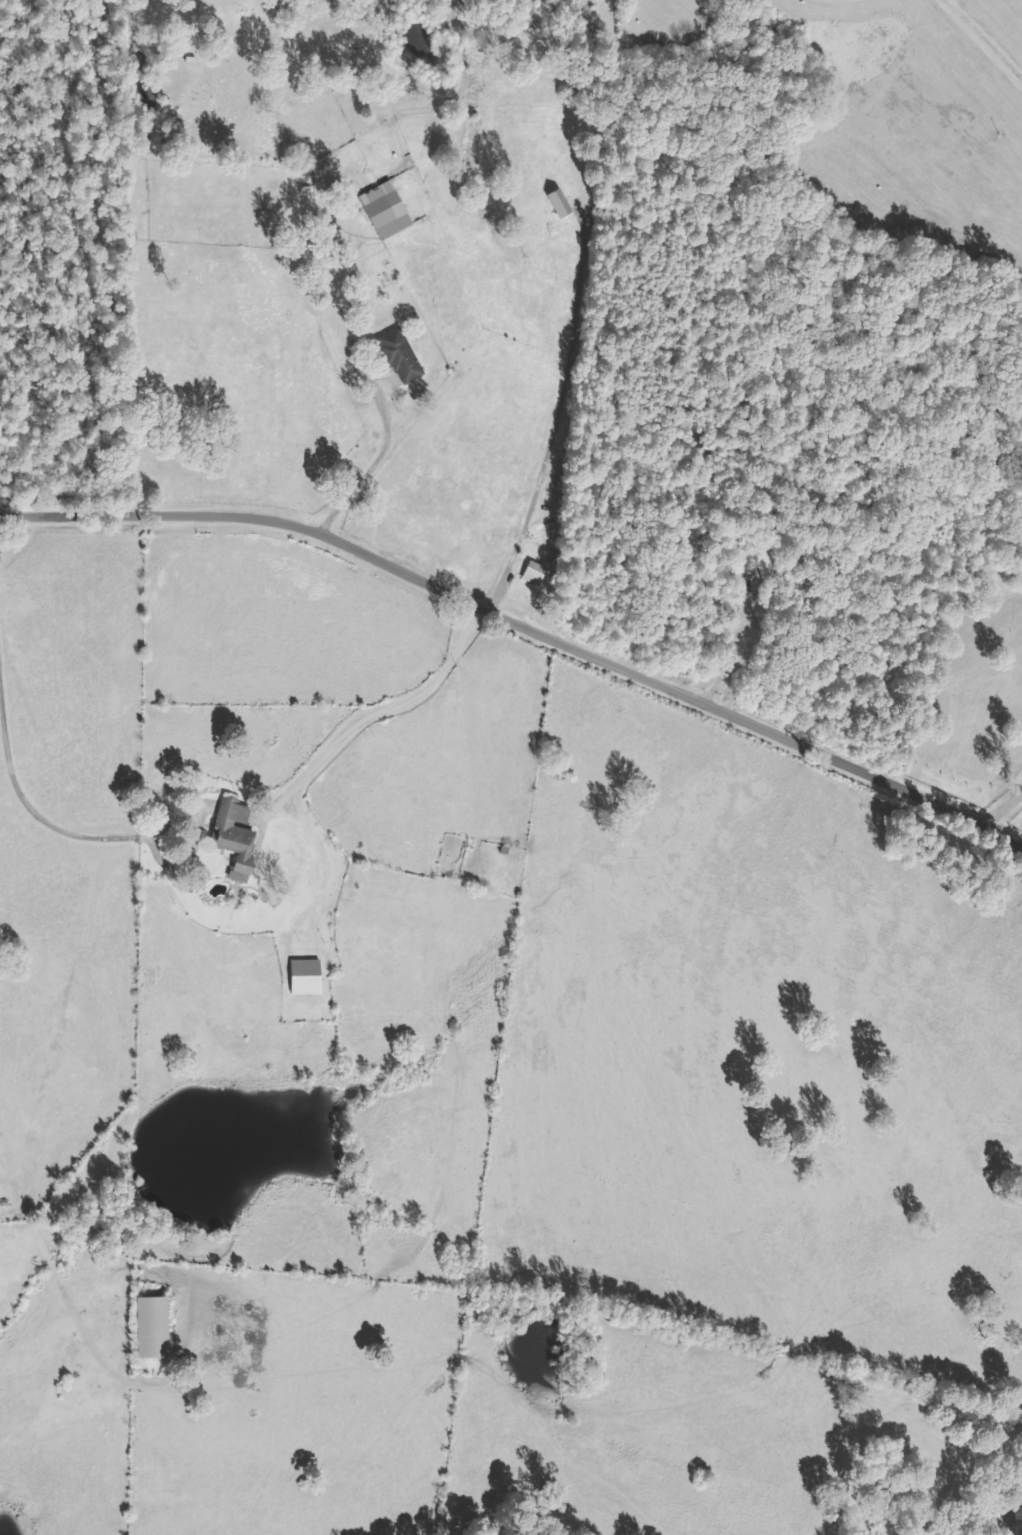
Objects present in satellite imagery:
building: (561, 203)
building: (387, 211)
building: (403, 356)
building: (539, 574)
road: (523, 628)
road: (391, 707)
building: (238, 837)
building: (307, 978)
building: (162, 1328)

